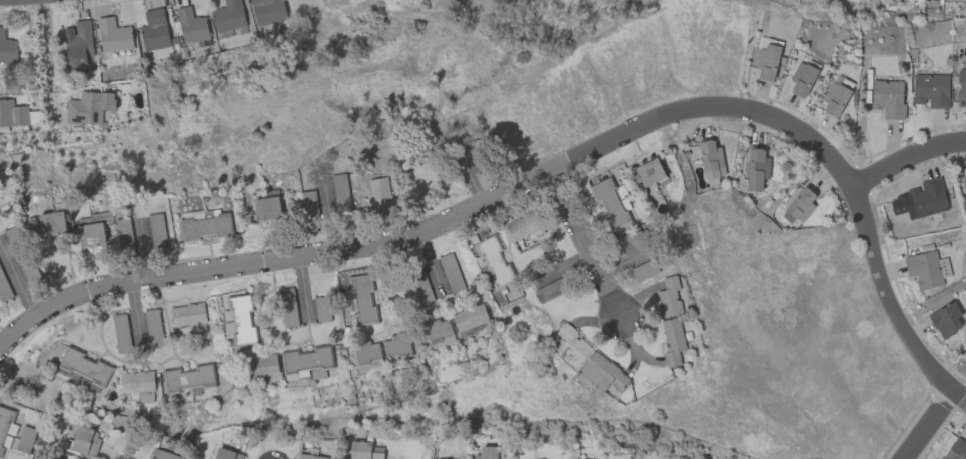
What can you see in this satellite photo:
building: (267, 11)
building: (227, 16)
building: (191, 26)
building: (154, 29)
building: (113, 35)
building: (79, 46)
building: (7, 49)
road: (33, 51)
road: (48, 60)
building: (767, 61)
building: (802, 79)
building: (843, 81)
building: (961, 86)
building: (930, 90)
building: (888, 98)
building: (835, 99)
building: (84, 108)
building: (12, 113)
building: (710, 158)
building: (756, 169)
building: (650, 172)
road: (472, 179)
building: (965, 182)
building: (378, 196)
road: (494, 197)
building: (920, 200)
building: (798, 201)
building: (612, 203)
building: (308, 204)
building: (267, 206)
road: (329, 214)
building: (52, 223)
building: (205, 224)
building: (523, 225)
building: (91, 234)
road: (144, 250)
building: (492, 261)
road: (590, 262)
road: (431, 264)
building: (926, 269)
road: (564, 270)
road: (16, 280)
road: (303, 290)
road: (889, 294)
building: (668, 297)
building: (362, 299)
building: (287, 307)
road: (135, 314)
building: (187, 314)
building: (469, 317)
building: (239, 319)
building: (945, 320)
building: (439, 333)
building: (672, 341)
building: (396, 346)
building: (570, 346)
building: (365, 353)
building: (307, 362)
building: (262, 365)
building: (86, 366)
building: (602, 372)
building: (187, 379)
building: (136, 381)
road: (959, 394)
road: (928, 424)
building: (6, 428)
building: (85, 441)
building: (364, 450)
building: (955, 450)
building: (492, 452)
road: (38, 454)
building: (227, 454)
building: (163, 455)
building: (308, 456)
building: (442, 458)

